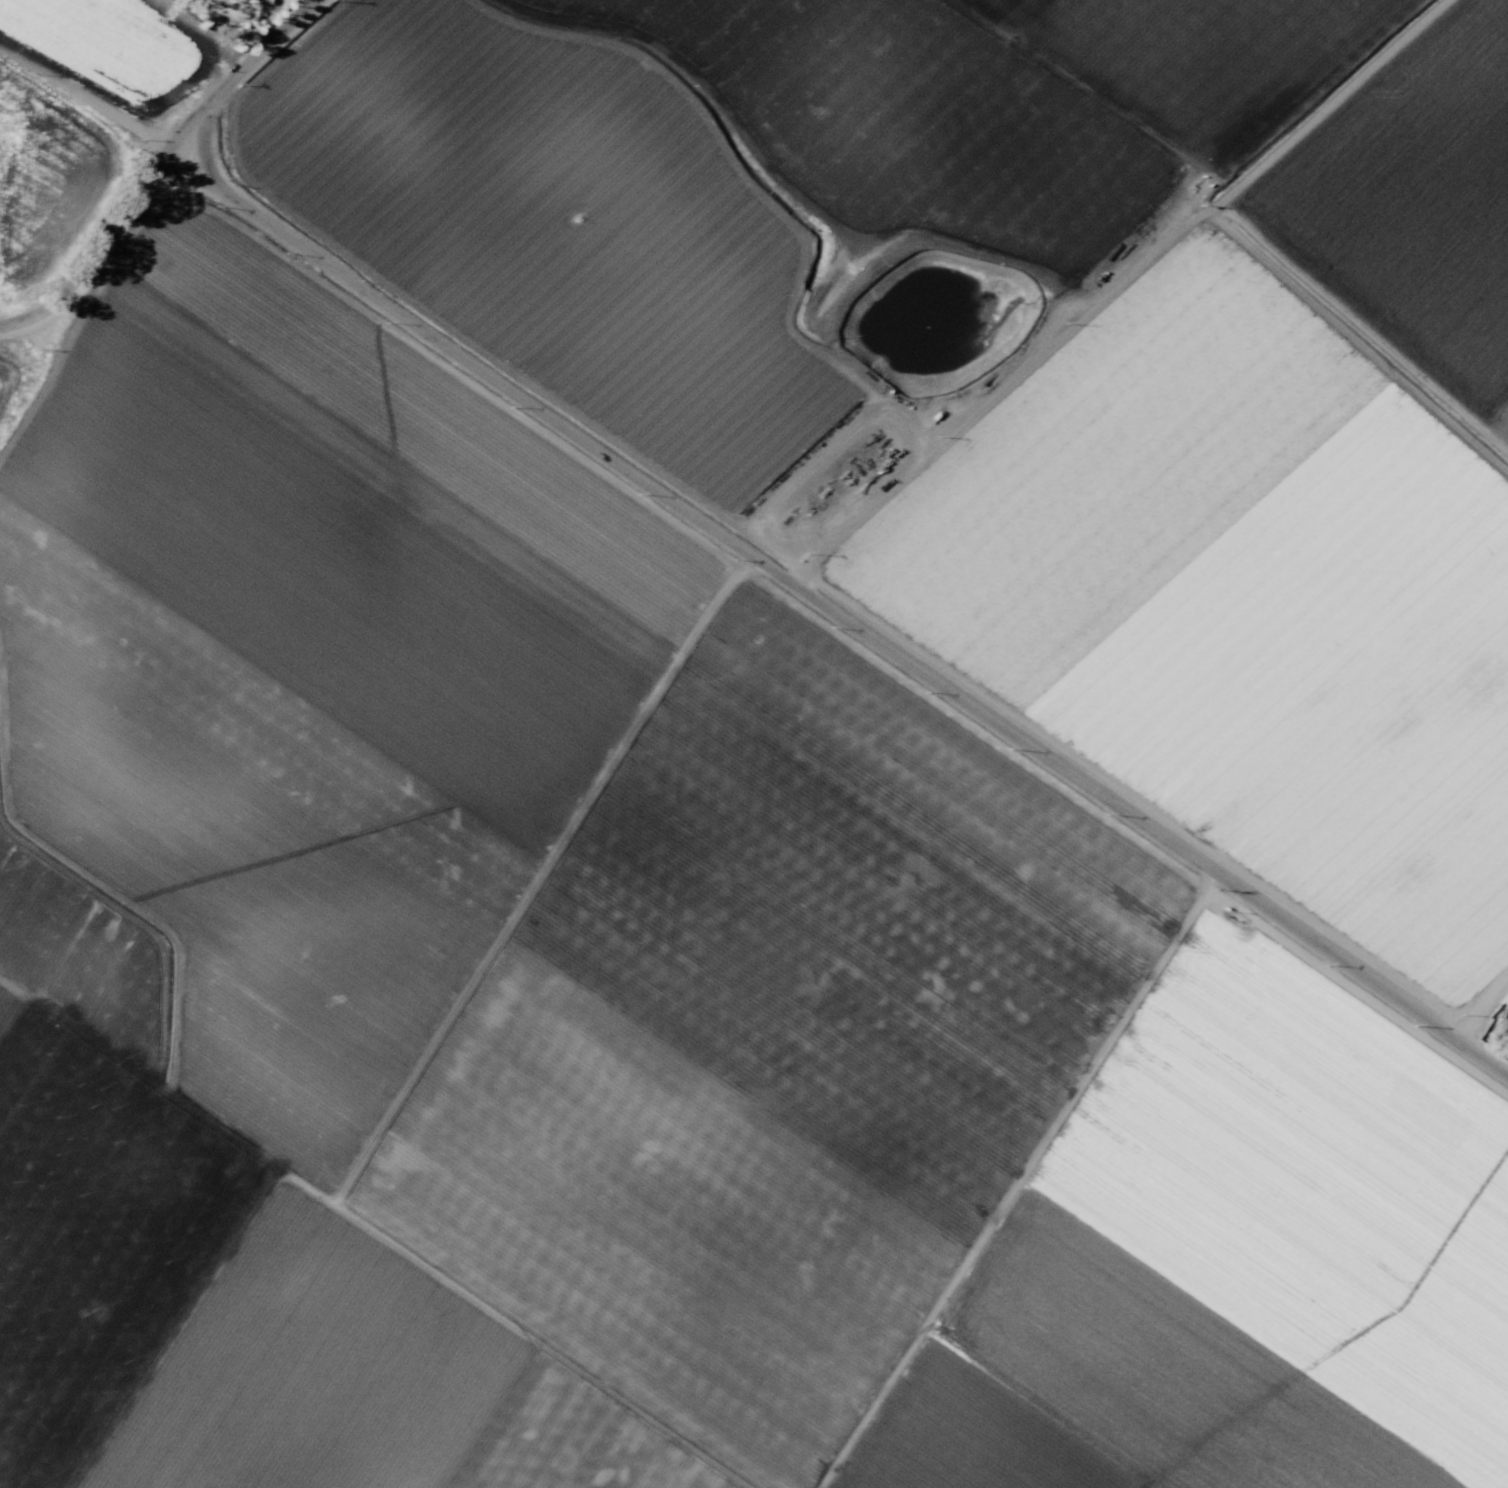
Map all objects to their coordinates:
building: (239, 0)
road: (245, 74)
road: (83, 97)
road: (196, 197)
road: (96, 253)
road: (838, 609)
crop: (754, 744)
road: (1477, 1003)
building: (1503, 1019)
road: (1016, 1180)

